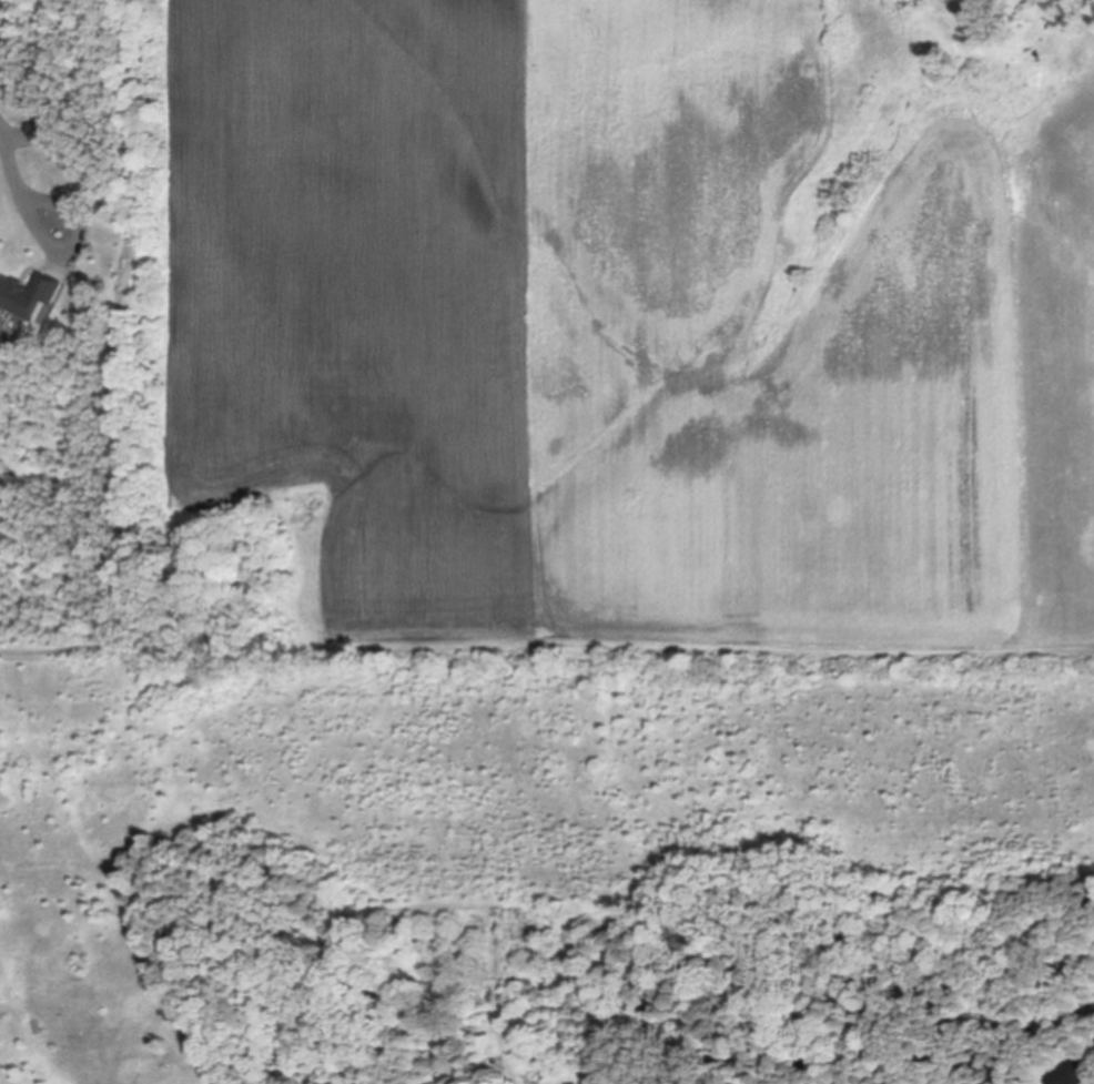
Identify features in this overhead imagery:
building: (42, 133)
road: (10, 155)
road: (82, 244)
building: (31, 298)
building: (1070, 1075)

